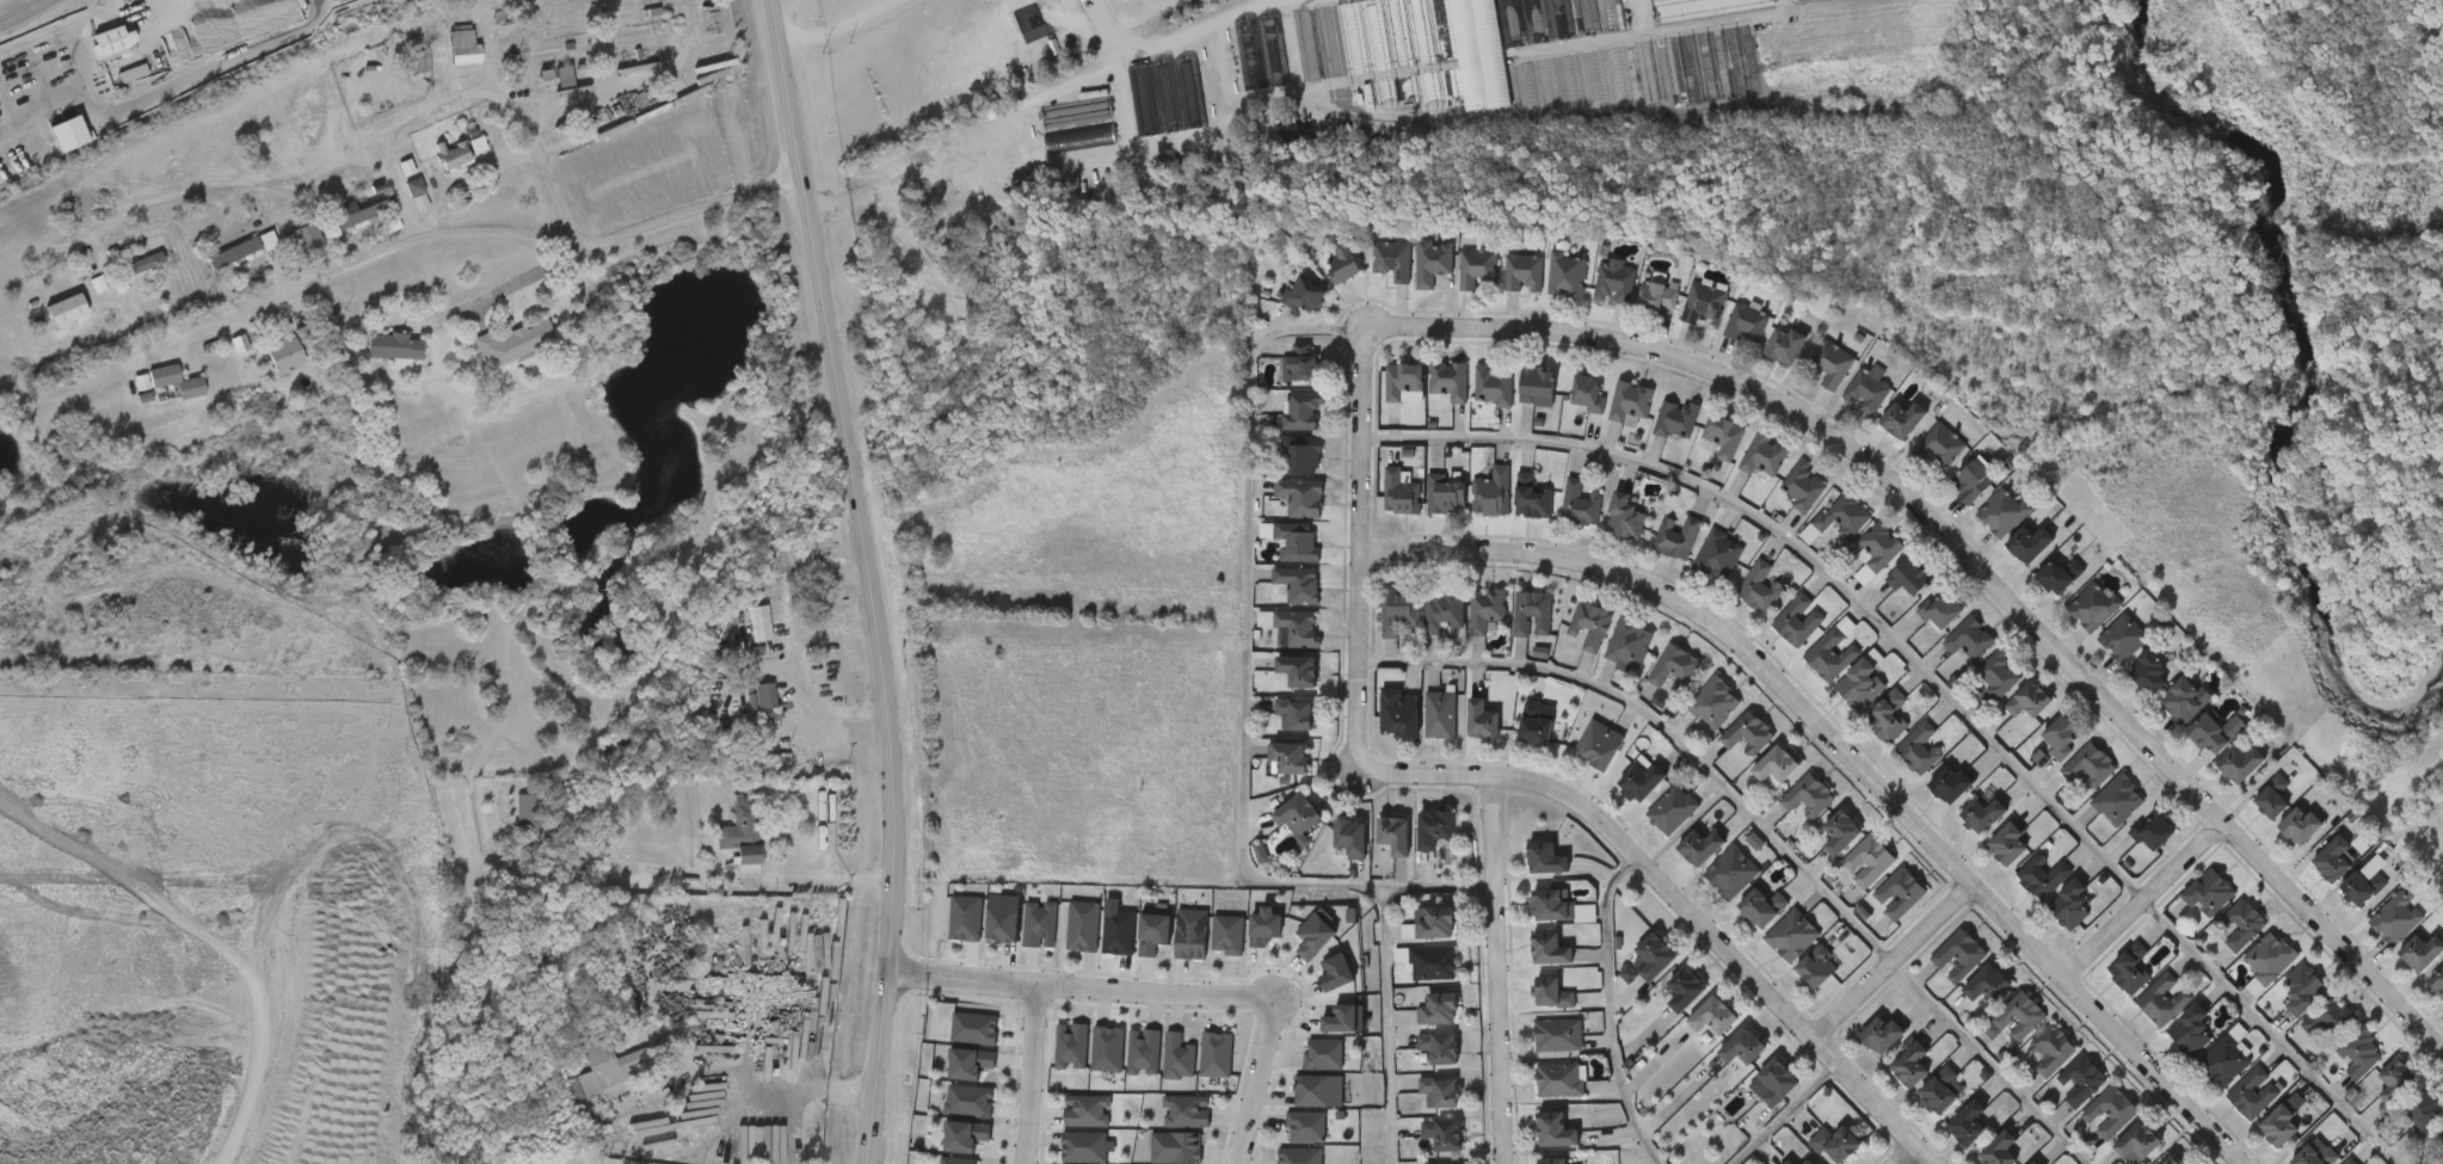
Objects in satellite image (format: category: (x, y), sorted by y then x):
road: (19, 10)
road: (839, 24)
building: (463, 47)
building: (92, 61)
building: (417, 62)
building: (442, 67)
building: (1260, 86)
building: (543, 98)
road: (996, 129)
road: (400, 130)
building: (1065, 133)
building: (451, 154)
building: (1063, 161)
road: (541, 174)
building: (431, 175)
building: (384, 187)
building: (417, 193)
building: (365, 213)
building: (396, 214)
building: (390, 222)
building: (336, 233)
road: (627, 233)
building: (301, 238)
building: (241, 248)
building: (287, 258)
building: (1391, 260)
road: (357, 261)
building: (143, 263)
building: (1432, 263)
building: (1344, 266)
building: (1475, 267)
building: (213, 273)
building: (1522, 273)
building: (1565, 275)
building: (1371, 282)
building: (1614, 282)
building: (124, 283)
building: (1410, 284)
building: (1322, 285)
building: (1454, 289)
building: (1502, 294)
building: (1544, 296)
building: (1304, 297)
building: (1659, 297)
building: (1593, 302)
building: (1703, 303)
building: (1281, 318)
building: (1636, 318)
building: (1681, 322)
building: (1746, 326)
building: (45, 330)
building: (510, 345)
building: (1724, 345)
building: (1787, 345)
building: (291, 346)
building: (396, 346)
building: (493, 362)
building: (1303, 362)
building: (219, 363)
building: (1833, 363)
building: (1765, 365)
building: (374, 369)
building: (264, 374)
building: (1402, 380)
building: (1447, 380)
building: (177, 381)
building: (1491, 384)
building: (1278, 386)
building: (1811, 386)
building: (1537, 387)
building: (1866, 392)
building: (1589, 393)
building: (155, 402)
building: (1427, 402)
building: (1630, 402)
building: (1383, 404)
building: (1471, 407)
building: (1515, 408)
building: (1300, 409)
building: (1845, 412)
building: (1567, 415)
building: (1904, 418)
building: (1675, 419)
building: (1608, 423)
building: (1281, 432)
building: (1721, 436)
building: (1654, 441)
building: (1881, 441)
building: (1942, 445)
building: (1300, 452)
building: (1764, 456)
building: (1700, 458)
building: (1918, 467)
building: (1280, 474)
building: (1741, 478)
building: (1971, 481)
building: (1803, 487)
building: (1399, 488)
building: (1444, 493)
building: (1490, 493)
building: (1299, 497)
building: (1531, 498)
building: (1950, 503)
building: (1579, 504)
building: (1780, 507)
building: (2001, 511)
building: (1378, 513)
building: (1471, 513)
building: (1423, 516)
building: (1624, 516)
building: (1280, 517)
building: (1836, 517)
building: (1509, 519)
building: (1558, 525)
building: (1980, 534)
building: (1675, 537)
building: (1602, 538)
building: (1296, 541)
building: (1816, 541)
building: (2031, 541)
road: (1339, 547)
building: (1878, 547)
building: (1716, 556)
building: (1654, 559)
road: (1971, 561)
building: (1275, 562)
building: (2007, 565)
building: (1857, 568)
building: (2061, 574)
building: (1696, 577)
building: (1909, 577)
road: (873, 578)
building: (1297, 584)
building: (1759, 585)
building: (1841, 596)
building: (2037, 597)
building: (1887, 598)
building: (1276, 605)
building: (2092, 605)
building: (1737, 609)
building: (1487, 610)
building: (1397, 611)
building: (1942, 611)
building: (1441, 612)
building: (1532, 614)
road: (833, 617)
building: (1798, 620)
building: (758, 624)
building: (1589, 626)
building: (2070, 627)
building: (1294, 628)
building: (1421, 630)
building: (1464, 630)
building: (1377, 632)
building: (1918, 632)
building: (1510, 634)
building: (1969, 638)
building: (2123, 638)
building: (1776, 642)
building: (738, 643)
building: (1629, 643)
building: (1569, 646)
building: (1274, 649)
building: (1830, 653)
building: (2100, 659)
building: (1947, 660)
building: (1606, 665)
building: (1673, 670)
road: (1245, 671)
building: (1299, 671)
building: (2153, 671)
building: (1810, 672)
building: (1999, 676)
road: (1932, 679)
building: (1860, 685)
building: (1278, 690)
building: (1654, 690)
building: (2127, 694)
building: (1976, 695)
building: (765, 696)
building: (2029, 700)
building: (2185, 701)
building: (1840, 702)
building: (1713, 703)
road: (842, 709)
building: (1297, 714)
building: (740, 716)
building: (1887, 716)
building: (2006, 721)
building: (2162, 721)
building: (1692, 723)
building: (1377, 732)
building: (2217, 732)
building: (1420, 733)
building: (1746, 734)
building: (1275, 735)
building: (2062, 735)
building: (1865, 738)
building: (1462, 741)
building: (1514, 744)
building: (1599, 744)
building: (1919, 749)
building: (2192, 752)
building: (1725, 753)
building: (1288, 757)
building: (2038, 758)
building: (2239, 762)
building: (1577, 765)
building: (2090, 766)
building: (1776, 768)
building: (1897, 770)
road: (1827, 774)
building: (1266, 778)
building: (1642, 778)
building: (1950, 783)
building: (2220, 786)
building: (1754, 787)
building: (2067, 787)
building: (1808, 796)
building: (2266, 797)
building: (2118, 800)
building: (1618, 803)
building: (1930, 803)
building: (1670, 809)
building: (1984, 812)
building: (528, 813)
building: (1298, 815)
building: (1786, 817)
building: (2251, 819)
building: (2096, 820)
road: (1758, 823)
building: (2293, 825)
building: (1438, 830)
building: (1650, 831)
building: (2153, 831)
building: (1841, 832)
building: (507, 833)
building: (1395, 834)
building: (1959, 836)
building: (744, 837)
building: (1276, 837)
building: (1352, 837)
building: (2020, 837)
building: (719, 844)
building: (1702, 845)
building: (2277, 846)
building: (1414, 849)
building: (2129, 852)
building: (1819, 854)
building: (1373, 855)
building: (1549, 856)
building: (1330, 858)
building: (1867, 860)
building: (2331, 862)
building: (1986, 863)
building: (1679, 868)
building: (1731, 872)
road: (707, 873)
building: (2043, 876)
building: (726, 879)
building: (1525, 879)
building: (1846, 881)
building: (2363, 886)
building: (2203, 891)
building: (1710, 893)
building: (1899, 893)
road: (189, 894)
building: (2020, 897)
road: (1675, 900)
building: (2073, 904)
building: (1558, 905)
building: (1764, 907)
road: (2134, 911)
building: (2186, 913)
building: (965, 914)
building: (1002, 914)
building: (1878, 914)
building: (2390, 917)
building: (1040, 919)
building: (1436, 920)
building: (1262, 923)
building: (2236, 925)
building: (1082, 926)
building: (1537, 926)
building: (2048, 926)
building: (1740, 928)
building: (1118, 932)
building: (1153, 934)
building: (1190, 935)
building: (1313, 935)
building: (1227, 936)
building: (1791, 936)
building: (944, 938)
building: (983, 938)
building: (1019, 944)
building: (1409, 944)
building: (2220, 944)
building: (1061, 946)
building: (1243, 947)
building: (1555, 947)
building: (1097, 951)
building: (2414, 951)
building: (1132, 954)
building: (1170, 954)
building: (1206, 954)
building: (1656, 954)
building: (1770, 955)
building: (1293, 956)
building: (1957, 956)
building: (2264, 957)
building: (1434, 961)
building: (1816, 968)
building: (1528, 969)
building: (2124, 969)
building: (1335, 972)
road: (1882, 972)
road: (1497, 973)
building: (1937, 975)
building: (1631, 978)
building: (2244, 983)
building: (2437, 983)
building: (1410, 984)
building: (1988, 984)
building: (1795, 986)
building: (1686, 987)
road: (1083, 989)
building: (2107, 990)
building: (2297, 990)
building: (1315, 992)
building: (1553, 992)
building: (1605, 994)
building: (2159, 999)
building: (1965, 1005)
building: (1440, 1006)
building: (1663, 1010)
road: (1607, 1011)
building: (1530, 1014)
building: (1713, 1014)
building: (462, 1015)
building: (2018, 1016)
building: (1339, 1018)
building: (2325, 1018)
road: (1387, 1021)
building: (2140, 1021)
building: (972, 1026)
building: (1417, 1029)
building: (2185, 1030)
building: (1557, 1034)
building: (1882, 1034)
building: (1691, 1036)
building: (1321, 1039)
building: (1994, 1039)
building: (1071, 1042)
building: (1108, 1043)
building: (1441, 1045)
building: (1742, 1047)
building: (953, 1048)
building: (2051, 1048)
building: (2168, 1051)
building: (1141, 1052)
building: (1322, 1053)
building: (2356, 1053)
building: (1860, 1054)
building: (1216, 1055)
building: (1537, 1055)
building: (1177, 1057)
building: (967, 1061)
building: (2220, 1061)
building: (1912, 1064)
road: (783, 1065)
building: (1051, 1065)
building: (1419, 1067)
building: (1087, 1068)
building: (1721, 1068)
building: (2029, 1070)
building: (1122, 1071)
road: (1034, 1074)
building: (1195, 1074)
building: (1303, 1074)
building: (1157, 1077)
building: (1559, 1078)
building: (1777, 1080)
building: (2081, 1080)
building: (2394, 1082)
building: (949, 1083)
road: (1256, 1083)
building: (1888, 1083)
building: (583, 1089)
building: (1441, 1090)
building: (1940, 1090)
building: (1321, 1091)
building: (2248, 1092)
building: (968, 1098)
building: (1539, 1100)
building: (2059, 1101)
building: (1755, 1102)
building: (1087, 1110)
building: (1298, 1110)
building: (1184, 1113)
building: (1419, 1113)
road: (1782, 1113)
building: (1919, 1113)
building: (2110, 1113)
building: (2424, 1114)
building: (948, 1121)
building: (1968, 1122)
building: (1556, 1126)
building: (2275, 1126)
building: (1307, 1128)
building: (1065, 1131)
building: (1165, 1131)
building: (2087, 1132)
building: (1445, 1133)
building: (964, 1134)
building: (1834, 1141)
building: (2139, 1143)
building: (1083, 1144)
building: (1945, 1144)
building: (1285, 1146)
building: (1174, 1148)
building: (2001, 1148)
building: (1421, 1151)
road: (1904, 1154)
building: (1302, 1156)
building: (2117, 1156)
building: (2309, 1156)
building: (1799, 1158)
building: (954, 1159)
building: (1552, 1159)
building: (2171, 1160)
building: (2344, 1160)
building: (1073, 1163)
building: (1445, 1163)
building: (2035, 1163)

